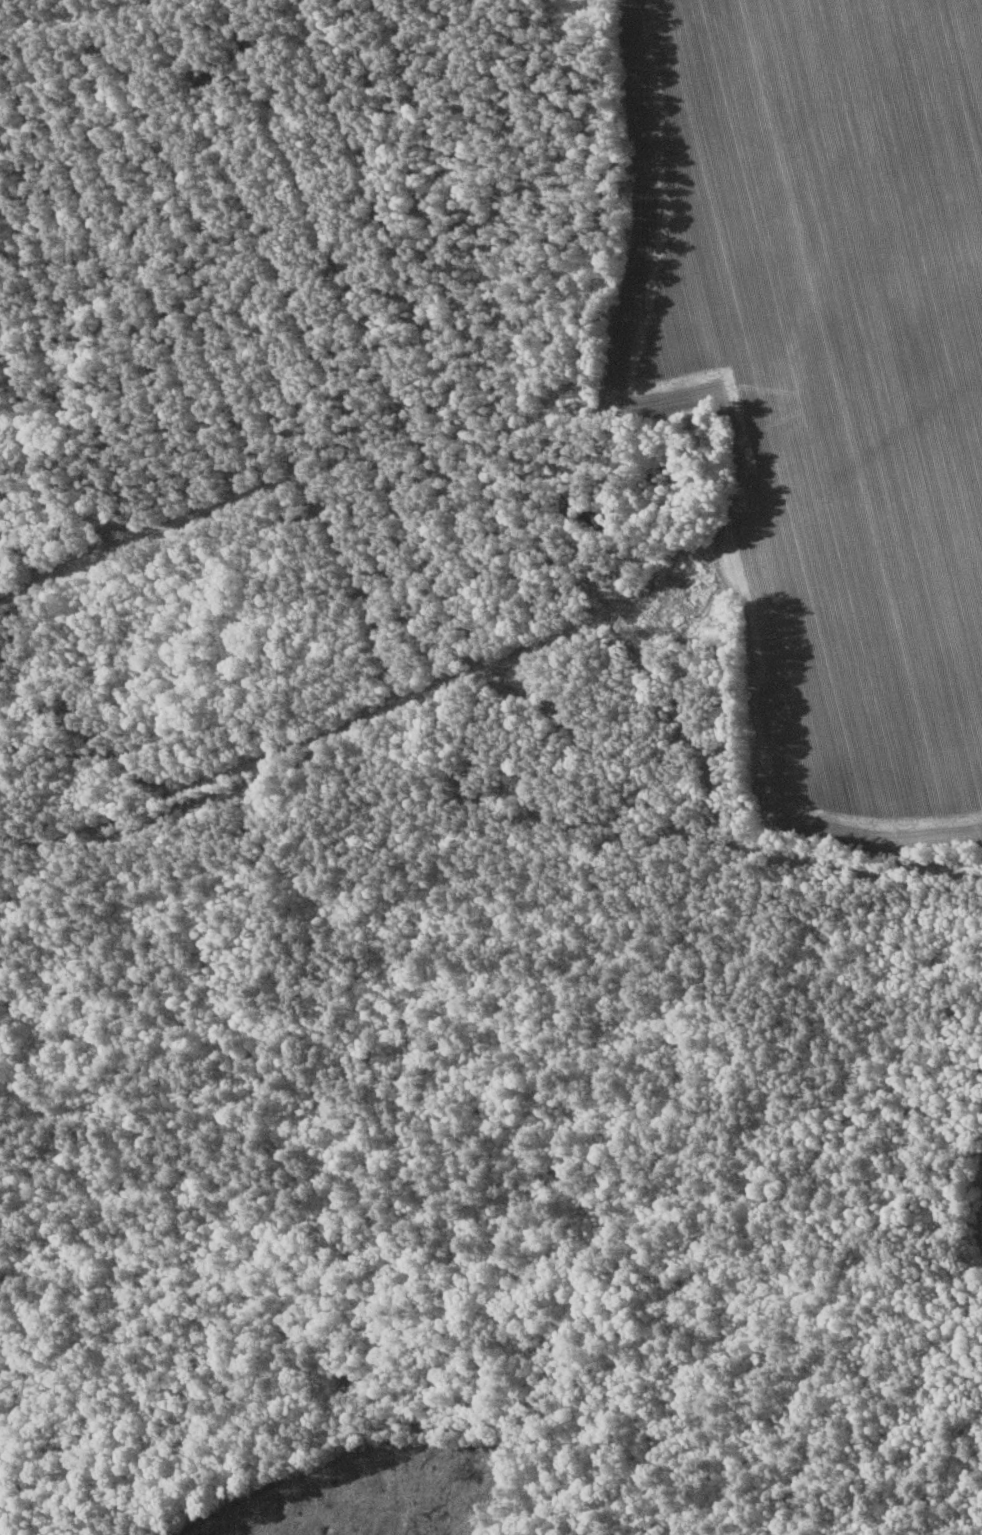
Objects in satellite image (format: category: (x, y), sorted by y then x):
crop: (829, 377)

